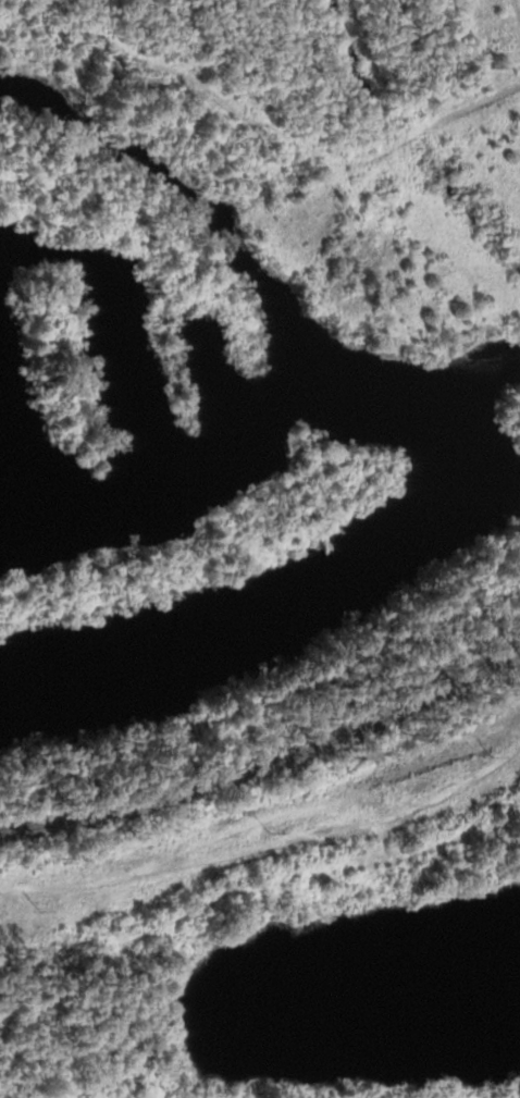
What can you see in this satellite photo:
power tower: (493, 755)
railway: (270, 761)
power tower: (270, 832)
power tower: (40, 909)

